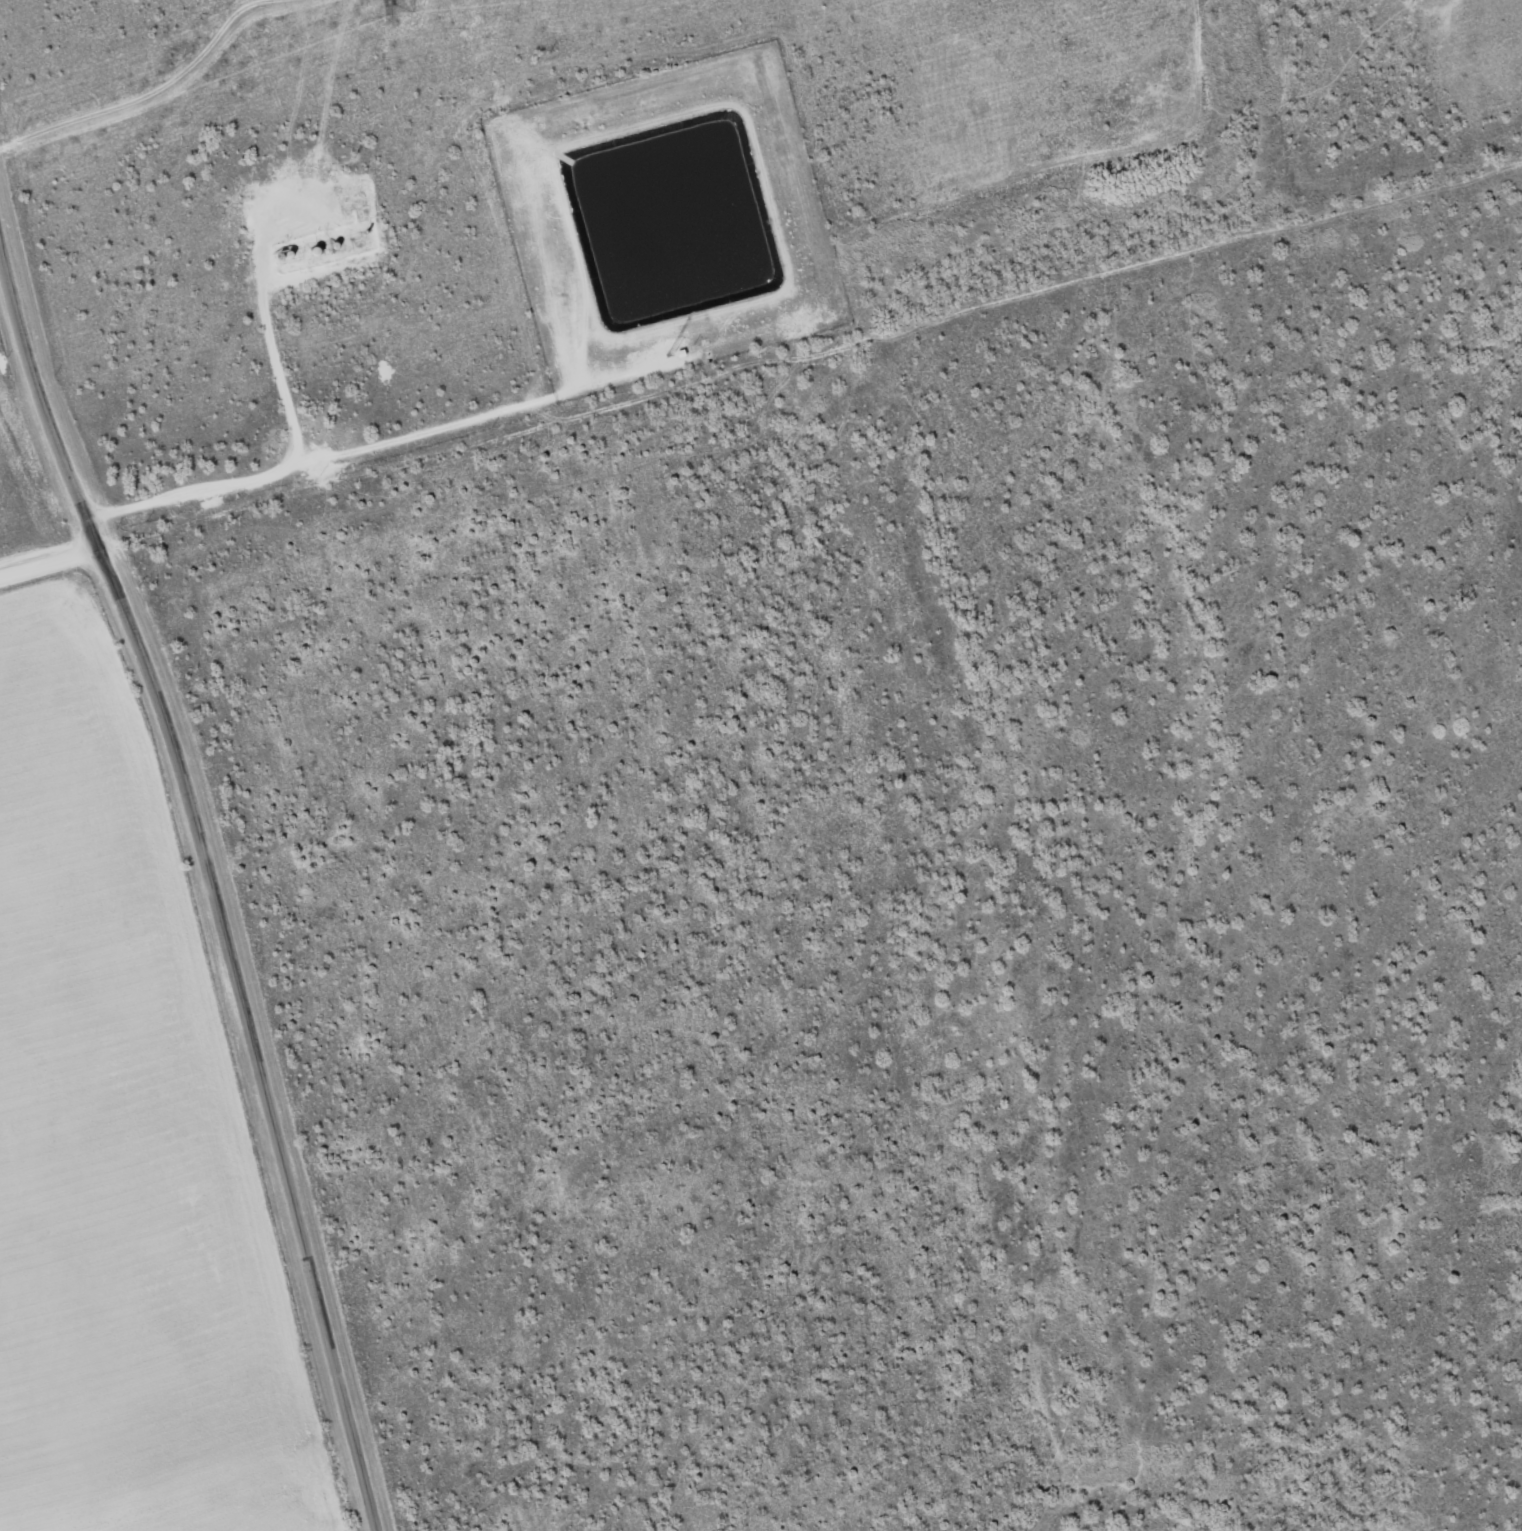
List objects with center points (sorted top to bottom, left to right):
power tower: (394, 3)
road: (46, 558)
road: (208, 853)

